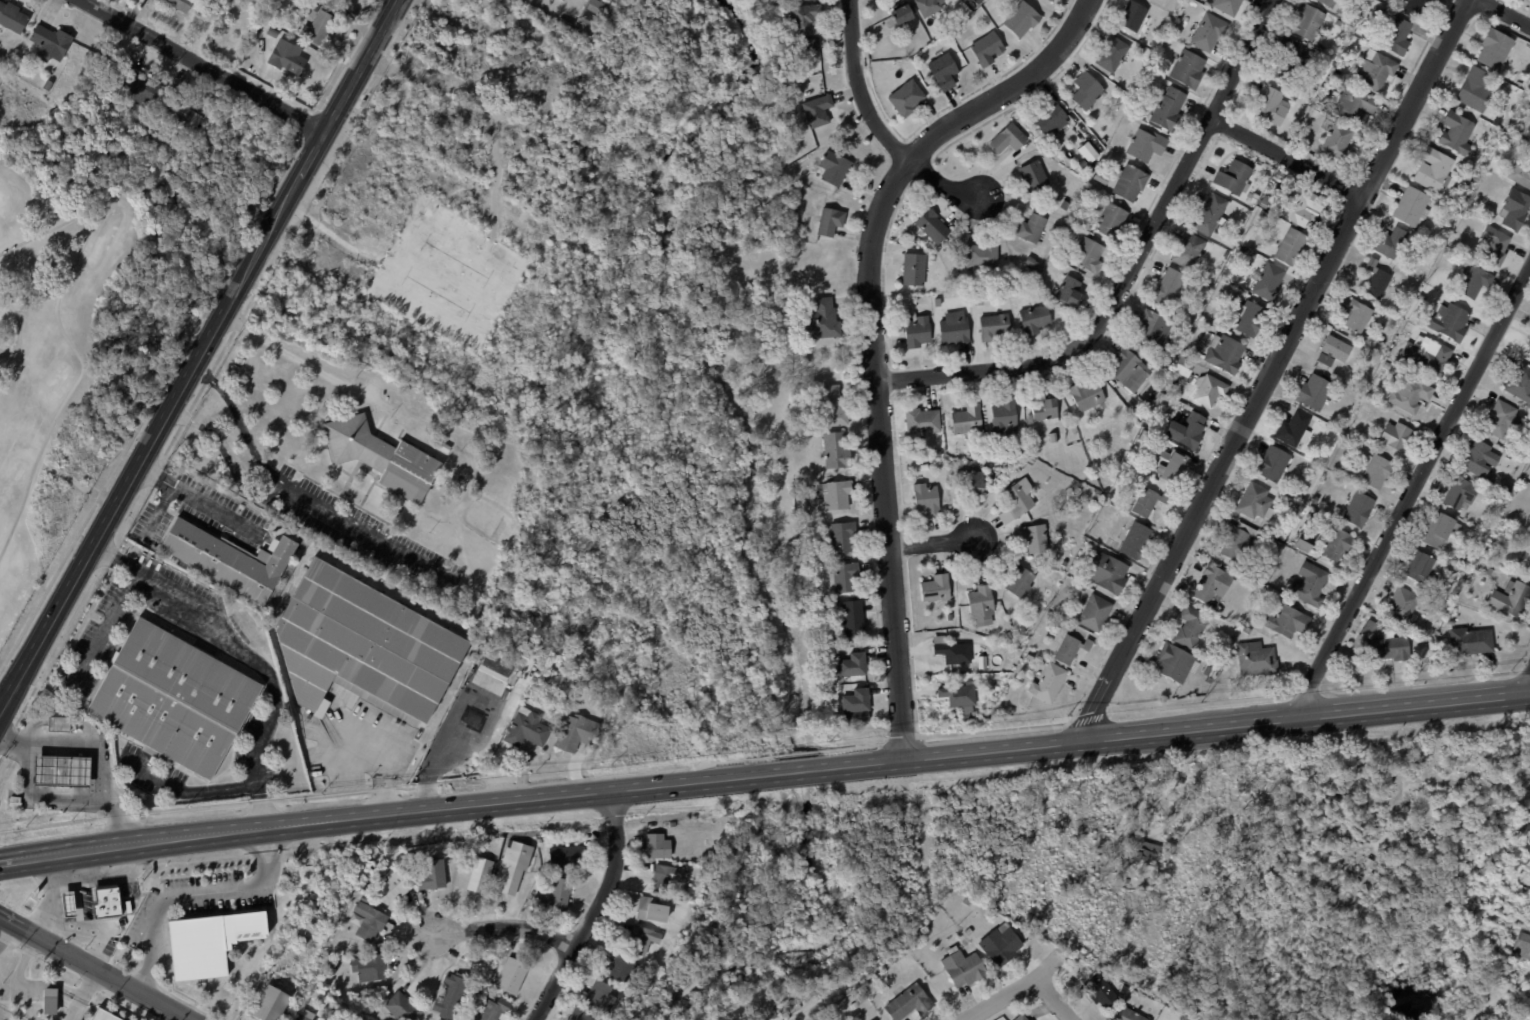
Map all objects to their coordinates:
building: (563, 0)
building: (1051, 0)
building: (978, 2)
building: (1328, 3)
building: (176, 4)
building: (1227, 6)
building: (221, 7)
building: (1415, 7)
building: (929, 8)
building: (310, 9)
road: (1510, 10)
building: (963, 11)
building: (592, 13)
building: (901, 16)
building: (1132, 16)
building: (11, 18)
building: (803, 19)
building: (1021, 20)
building: (565, 23)
building: (1309, 23)
building: (318, 26)
building: (264, 29)
building: (1209, 33)
building: (1395, 33)
building: (217, 35)
building: (780, 35)
building: (49, 43)
building: (810, 44)
building: (787, 46)
building: (1495, 48)
building: (986, 49)
building: (1141, 49)
building: (1111, 54)
building: (6, 58)
building: (286, 61)
building: (1289, 63)
building: (14, 65)
road: (201, 68)
building: (1188, 69)
building: (1375, 71)
building: (943, 72)
building: (1338, 78)
building: (48, 85)
road: (857, 87)
building: (137, 88)
building: (1475, 89)
building: (1086, 91)
building: (1305, 91)
building: (1505, 94)
building: (906, 99)
building: (1271, 106)
building: (1352, 106)
building: (1320, 108)
building: (1168, 110)
building: (817, 112)
building: (181, 113)
building: (1316, 115)
building: (1050, 120)
building: (1457, 132)
building: (1008, 139)
building: (1338, 142)
building: (1146, 146)
building: (1088, 153)
building: (1472, 153)
road: (1289, 158)
building: (834, 169)
building: (1434, 169)
building: (1520, 175)
building: (1033, 177)
building: (1234, 177)
building: (1468, 177)
building: (1101, 179)
road: (940, 180)
building: (1272, 182)
building: (1129, 183)
building: (1073, 188)
building: (1255, 198)
building: (1264, 200)
building: (1299, 203)
building: (1064, 206)
building: (1411, 206)
building: (1515, 209)
building: (1262, 213)
building: (1209, 214)
building: (1075, 215)
building: (830, 222)
building: (1111, 222)
building: (1056, 226)
building: (797, 227)
building: (932, 227)
building: (1031, 229)
building: (1435, 234)
building: (1051, 238)
building: (1393, 242)
building: (1494, 245)
building: (1291, 246)
building: (1424, 248)
building: (1188, 250)
building: (1241, 250)
building: (1227, 253)
building: (1089, 256)
building: (982, 258)
building: (1031, 264)
road: (1130, 268)
building: (913, 271)
building: (955, 274)
building: (1377, 279)
building: (1269, 281)
building: (1473, 281)
building: (1169, 287)
building: (1200, 292)
building: (1069, 293)
building: (937, 303)
building: (1358, 315)
building: (1251, 318)
building: (822, 319)
building: (1034, 320)
building: (1448, 321)
building: (1213, 325)
building: (1154, 327)
building: (994, 328)
building: (954, 329)
building: (917, 332)
road: (870, 333)
park: (48, 337)
building: (1381, 337)
road: (68, 342)
building: (1529, 342)
building: (1334, 350)
building: (1529, 350)
building: (1225, 353)
building: (1428, 355)
road: (198, 358)
road: (297, 358)
building: (1387, 365)
building: (1131, 366)
building: (1183, 366)
road: (1273, 373)
building: (1520, 383)
building: (1209, 389)
building: (1314, 392)
building: (1087, 395)
building: (1410, 395)
building: (1166, 398)
building: (831, 406)
building: (1045, 410)
building: (1141, 414)
building: (1004, 415)
building: (1151, 416)
building: (967, 419)
building: (1503, 419)
building: (922, 420)
road: (243, 422)
building: (1148, 423)
building: (1188, 430)
building: (1295, 430)
building: (1144, 433)
building: (1396, 436)
building: (1054, 437)
building: (444, 447)
building: (835, 450)
building: (935, 454)
road: (226, 456)
building: (383, 457)
building: (1318, 458)
building: (1480, 458)
building: (1273, 463)
building: (1172, 465)
building: (924, 467)
building: (1376, 471)
building: (445, 481)
building: (971, 481)
building: (818, 487)
building: (1459, 491)
building: (837, 495)
building: (1299, 496)
building: (926, 498)
road: (195, 499)
road: (1420, 499)
building: (1018, 500)
building: (1148, 501)
building: (1257, 505)
building: (1108, 506)
road: (159, 510)
building: (1359, 510)
parking lot: (204, 514)
building: (1311, 515)
building: (1485, 526)
building: (1474, 527)
building: (1442, 530)
road: (359, 532)
parking lot: (365, 535)
building: (1282, 535)
building: (841, 536)
building: (1035, 539)
building: (1135, 540)
building: (1239, 542)
road: (930, 543)
building: (1302, 545)
building: (1339, 546)
road: (115, 555)
building: (228, 560)
building: (1471, 560)
building: (1064, 563)
building: (1467, 564)
building: (1421, 566)
building: (1486, 570)
building: (1528, 571)
building: (1106, 572)
building: (1463, 572)
building: (843, 577)
building: (1019, 581)
building: (1213, 583)
building: (1310, 584)
building: (934, 586)
building: (1083, 588)
building: (1512, 598)
building: (981, 604)
building: (1403, 607)
building: (1095, 612)
building: (949, 617)
building: (851, 618)
building: (1288, 622)
building: (1452, 622)
road: (105, 625)
building: (1191, 627)
building: (1248, 630)
building: (1010, 635)
building: (1471, 641)
building: (1385, 644)
building: (363, 646)
building: (1071, 649)
building: (954, 653)
road: (245, 656)
building: (1030, 656)
building: (1256, 659)
building: (497, 663)
building: (1176, 663)
building: (852, 665)
building: (1210, 672)
building: (513, 676)
building: (1048, 684)
road: (1529, 692)
building: (958, 695)
building: (173, 698)
building: (856, 705)
building: (967, 716)
building: (57, 723)
road: (57, 723)
road: (29, 727)
building: (525, 728)
road: (88, 729)
road: (1181, 732)
building: (575, 733)
road: (445, 742)
road: (96, 752)
road: (377, 762)
building: (61, 771)
gas station: (61, 771)
road: (795, 771)
building: (1124, 778)
road: (188, 790)
road: (36, 798)
road: (1440, 802)
building: (15, 804)
road: (261, 805)
road: (384, 815)
building: (1115, 818)
building: (672, 824)
building: (711, 838)
building: (657, 845)
building: (474, 847)
building: (1145, 850)
road: (276, 854)
building: (566, 856)
road: (5, 862)
building: (511, 866)
building: (431, 873)
building: (473, 873)
building: (548, 874)
building: (663, 879)
building: (393, 885)
building: (137, 889)
road: (1246, 890)
building: (557, 894)
road: (192, 898)
building: (967, 900)
building: (105, 902)
building: (679, 902)
building: (651, 909)
road: (595, 910)
building: (370, 921)
building: (934, 924)
road: (509, 926)
road: (3, 930)
building: (969, 931)
building: (311, 934)
building: (642, 939)
building: (1001, 943)
building: (1522, 944)
building: (198, 948)
road: (77, 962)
building: (370, 966)
building: (650, 966)
building: (963, 966)
building: (618, 967)
building: (330, 970)
building: (509, 974)
road: (1018, 989)
building: (1101, 990)
building: (597, 992)
building: (452, 995)
road: (84, 996)
road: (1056, 998)
building: (49, 1000)
building: (908, 1002)
building: (269, 1003)
road: (1484, 1003)
building: (854, 1005)
building: (401, 1006)
building: (494, 1009)
road: (172, 1011)
building: (581, 1013)
building: (774, 1014)
building: (1131, 1014)
building: (103, 1015)
building: (301, 1016)
building: (786, 1016)
building: (1022, 1017)
building: (876, 1019)
building: (1031, 1019)

